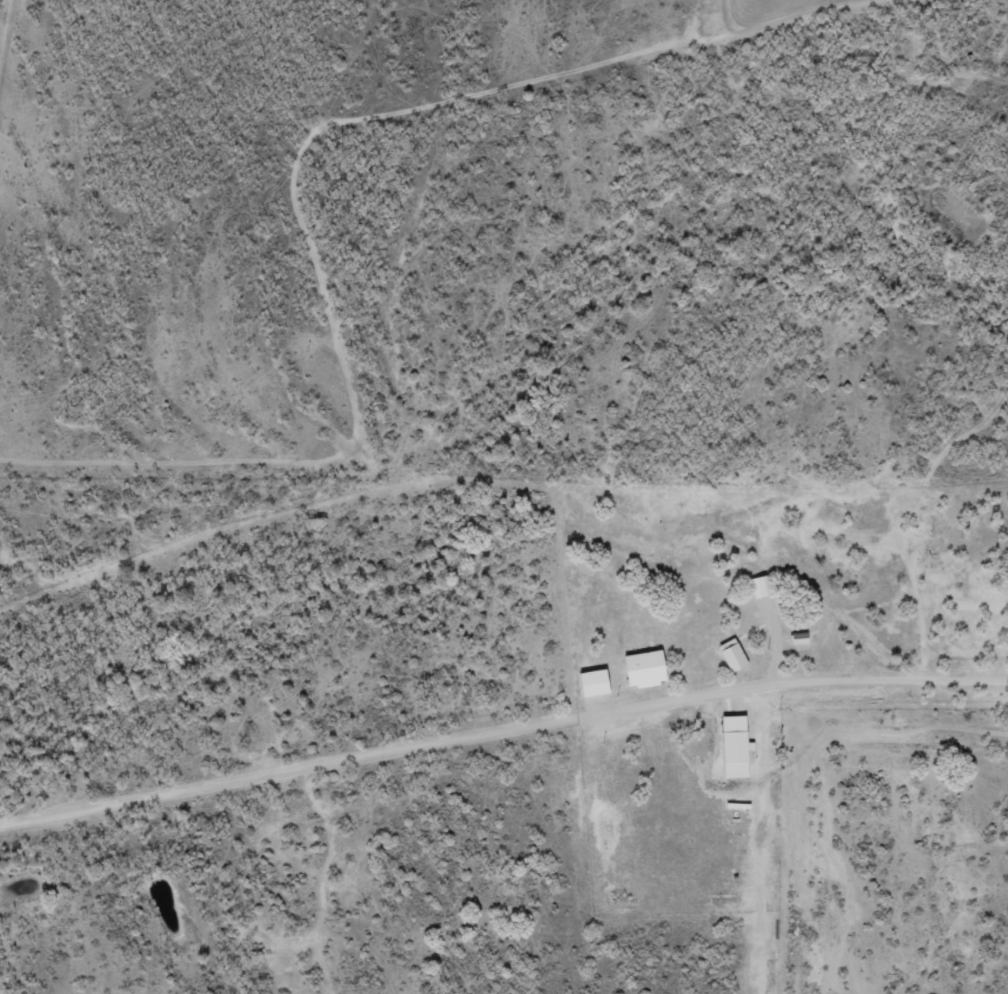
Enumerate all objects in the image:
road: (961, 77)
building: (753, 586)
building: (792, 638)
building: (725, 655)
road: (500, 745)
building: (727, 754)

